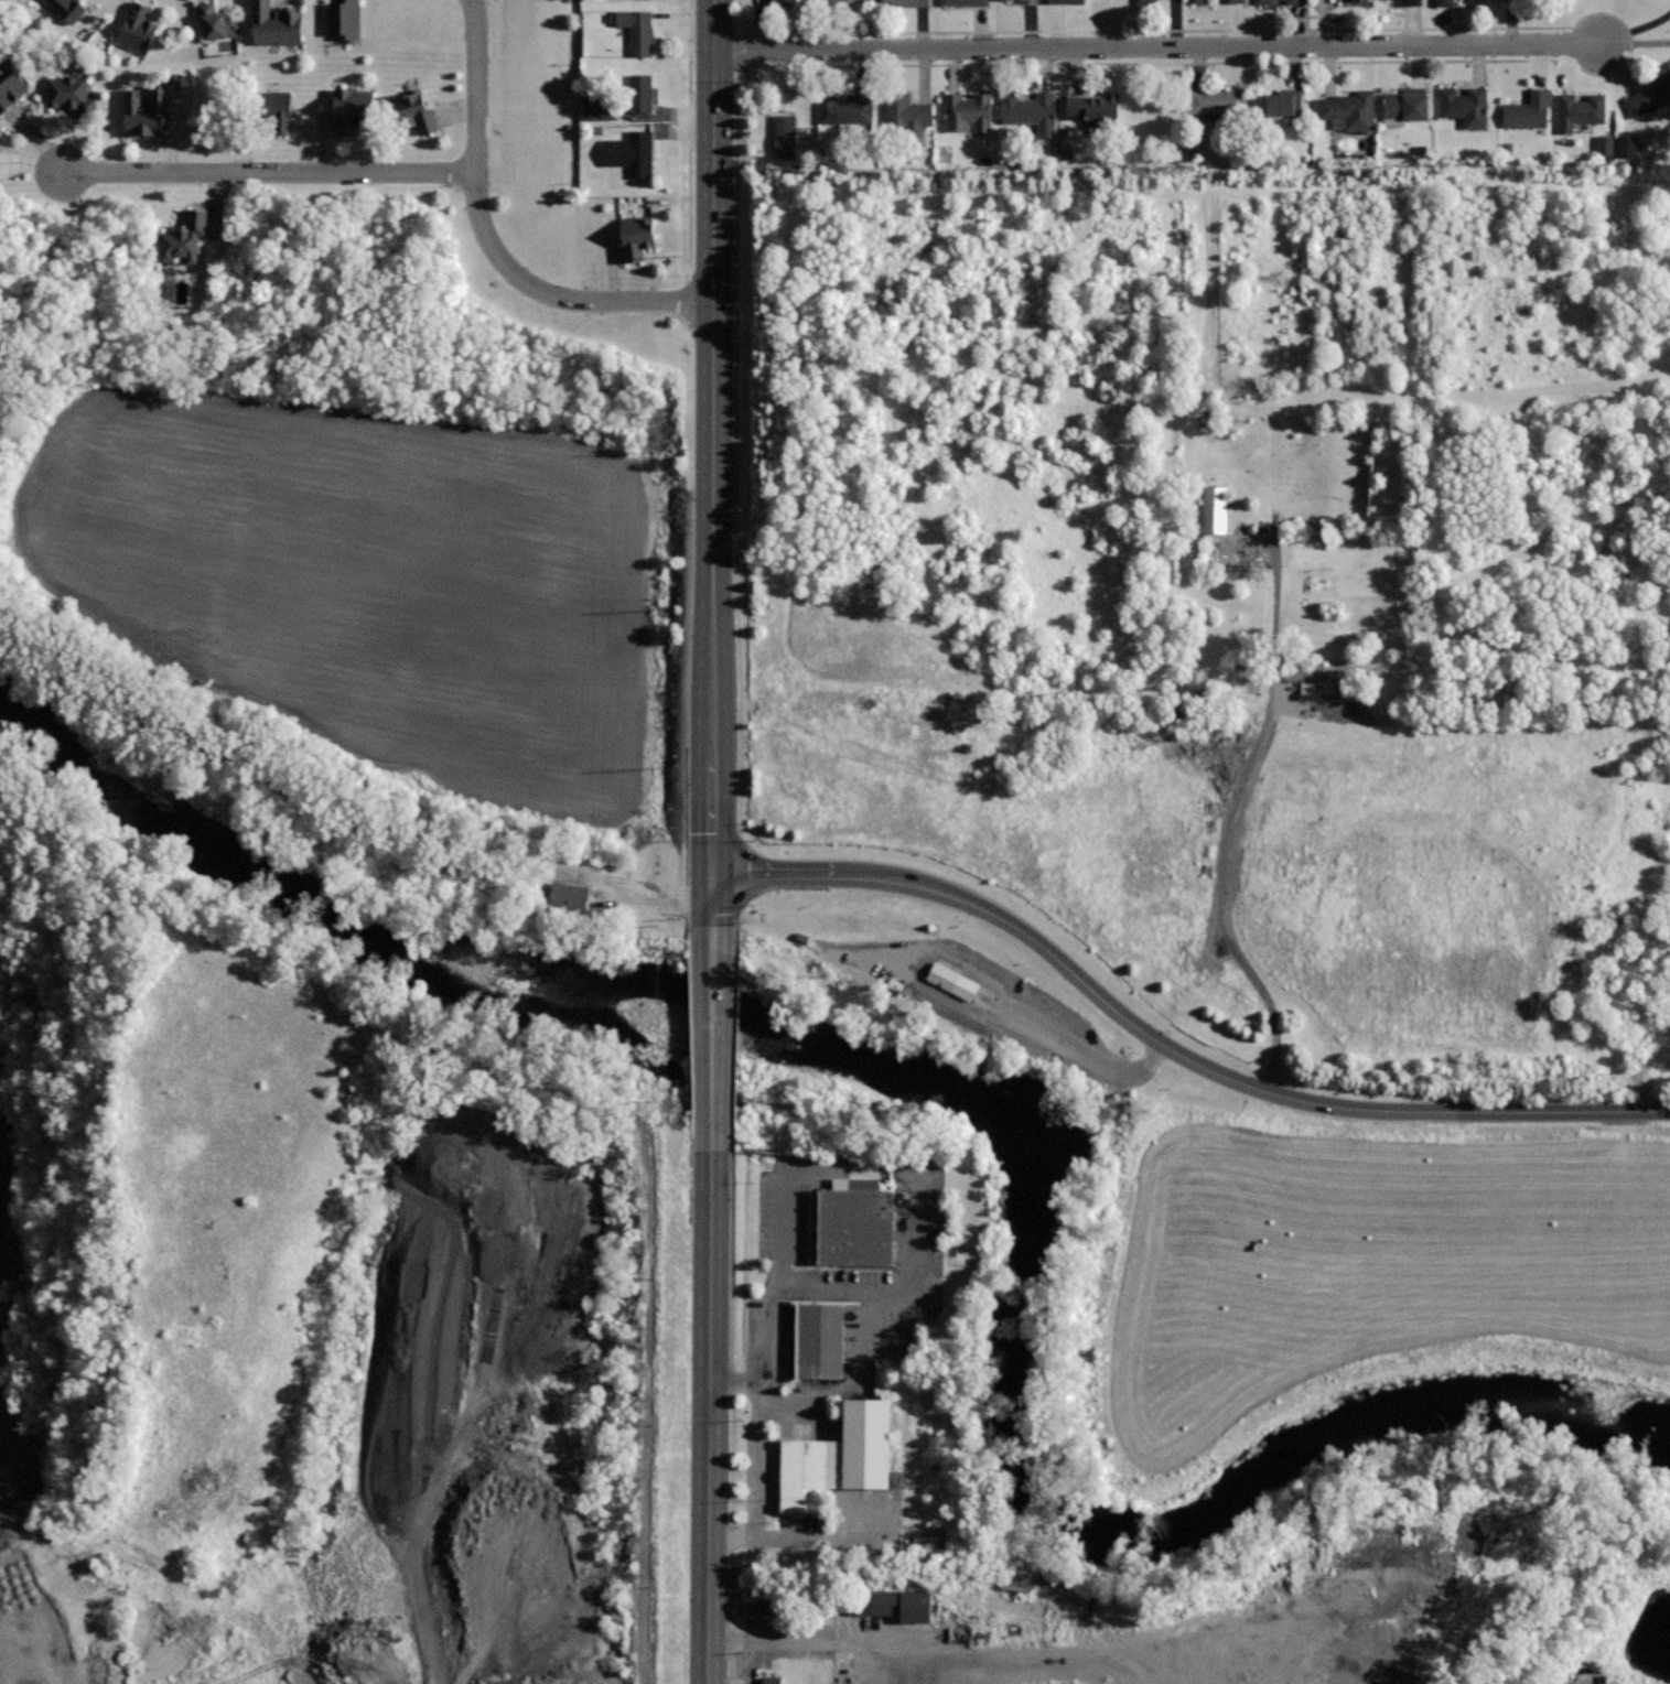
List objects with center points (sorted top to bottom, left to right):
building: (1011, 0)
building: (1025, 1)
building: (1066, 1)
building: (1146, 1)
building: (1200, 1)
building: (1237, 1)
building: (1265, 1)
building: (1295, 1)
building: (1360, 1)
building: (1411, 1)
building: (904, 2)
building: (963, 2)
building: (1445, 2)
building: (780, 3)
building: (830, 4)
building: (64, 8)
building: (344, 19)
building: (216, 21)
building: (277, 24)
building: (138, 29)
building: (638, 29)
road: (1159, 46)
road: (1289, 62)
building: (10, 84)
building: (642, 91)
building: (73, 94)
building: (1651, 96)
building: (1218, 100)
building: (1284, 102)
building: (354, 104)
building: (1404, 105)
building: (844, 106)
building: (1465, 106)
building: (277, 108)
building: (147, 109)
building: (588, 109)
building: (1030, 109)
building: (1349, 109)
building: (1528, 109)
building: (1577, 109)
building: (412, 110)
building: (968, 110)
building: (1097, 110)
building: (907, 112)
building: (785, 136)
road: (689, 138)
building: (1604, 144)
building: (1625, 147)
road: (717, 150)
building: (631, 152)
building: (3, 163)
road: (270, 172)
building: (638, 235)
building: (185, 237)
road: (491, 242)
building: (1216, 509)
road: (714, 612)
road: (1275, 656)
road: (1128, 757)
road: (739, 920)
building: (942, 974)
road: (905, 982)
river: (536, 984)
parking lot: (1001, 1006)
road: (712, 1036)
road: (737, 1037)
road: (1171, 1048)
building: (853, 1227)
quarry: (330, 1284)
road: (916, 1291)
road: (764, 1320)
building: (820, 1339)
parking lot: (836, 1341)
building: (886, 1378)
road: (841, 1390)
road: (710, 1416)
road: (734, 1416)
road: (379, 1419)
road: (819, 1432)
building: (845, 1456)
river: (1222, 1512)
road: (879, 1541)
building: (930, 1542)
building: (768, 1601)
building: (891, 1602)
road: (931, 1637)
road: (780, 1639)
parking lot: (920, 1650)
road: (1039, 1655)
road: (853, 1661)
road: (40, 1677)
building: (773, 1680)

